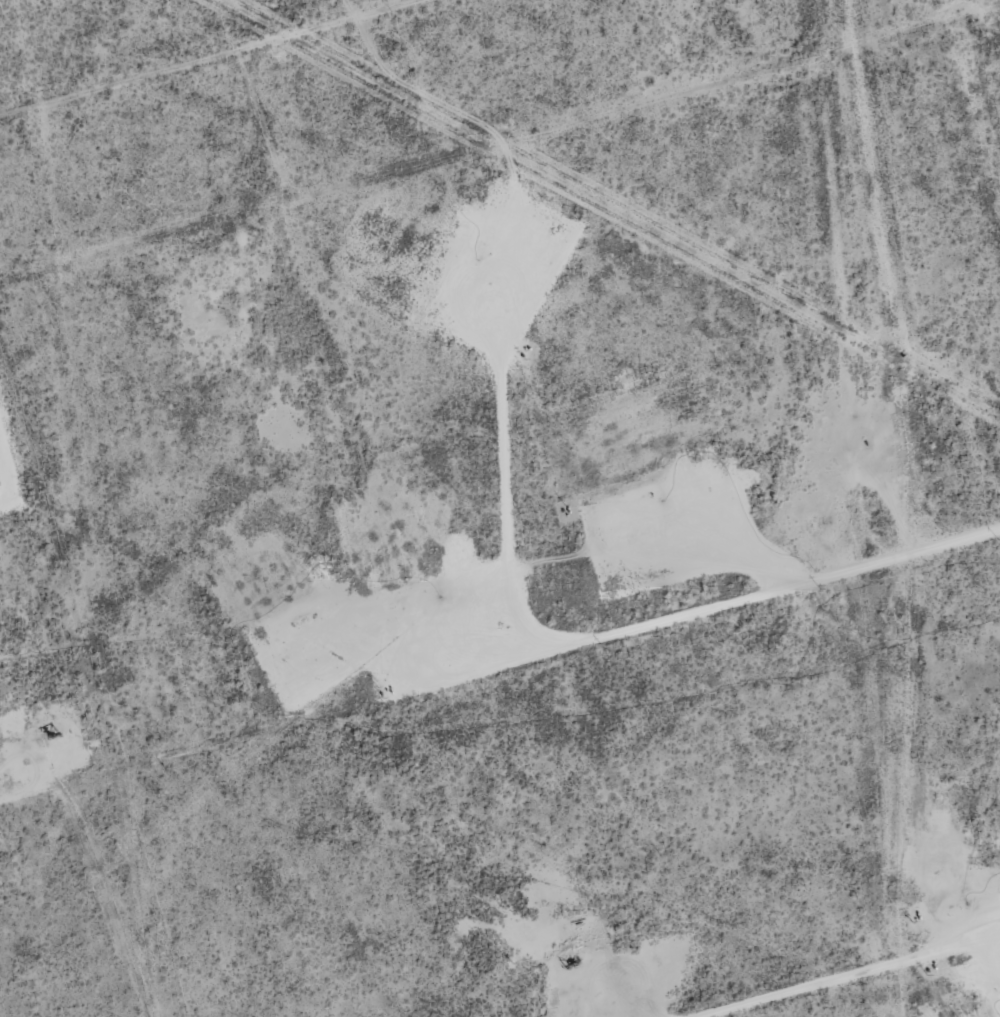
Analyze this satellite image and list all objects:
road: (896, 987)

